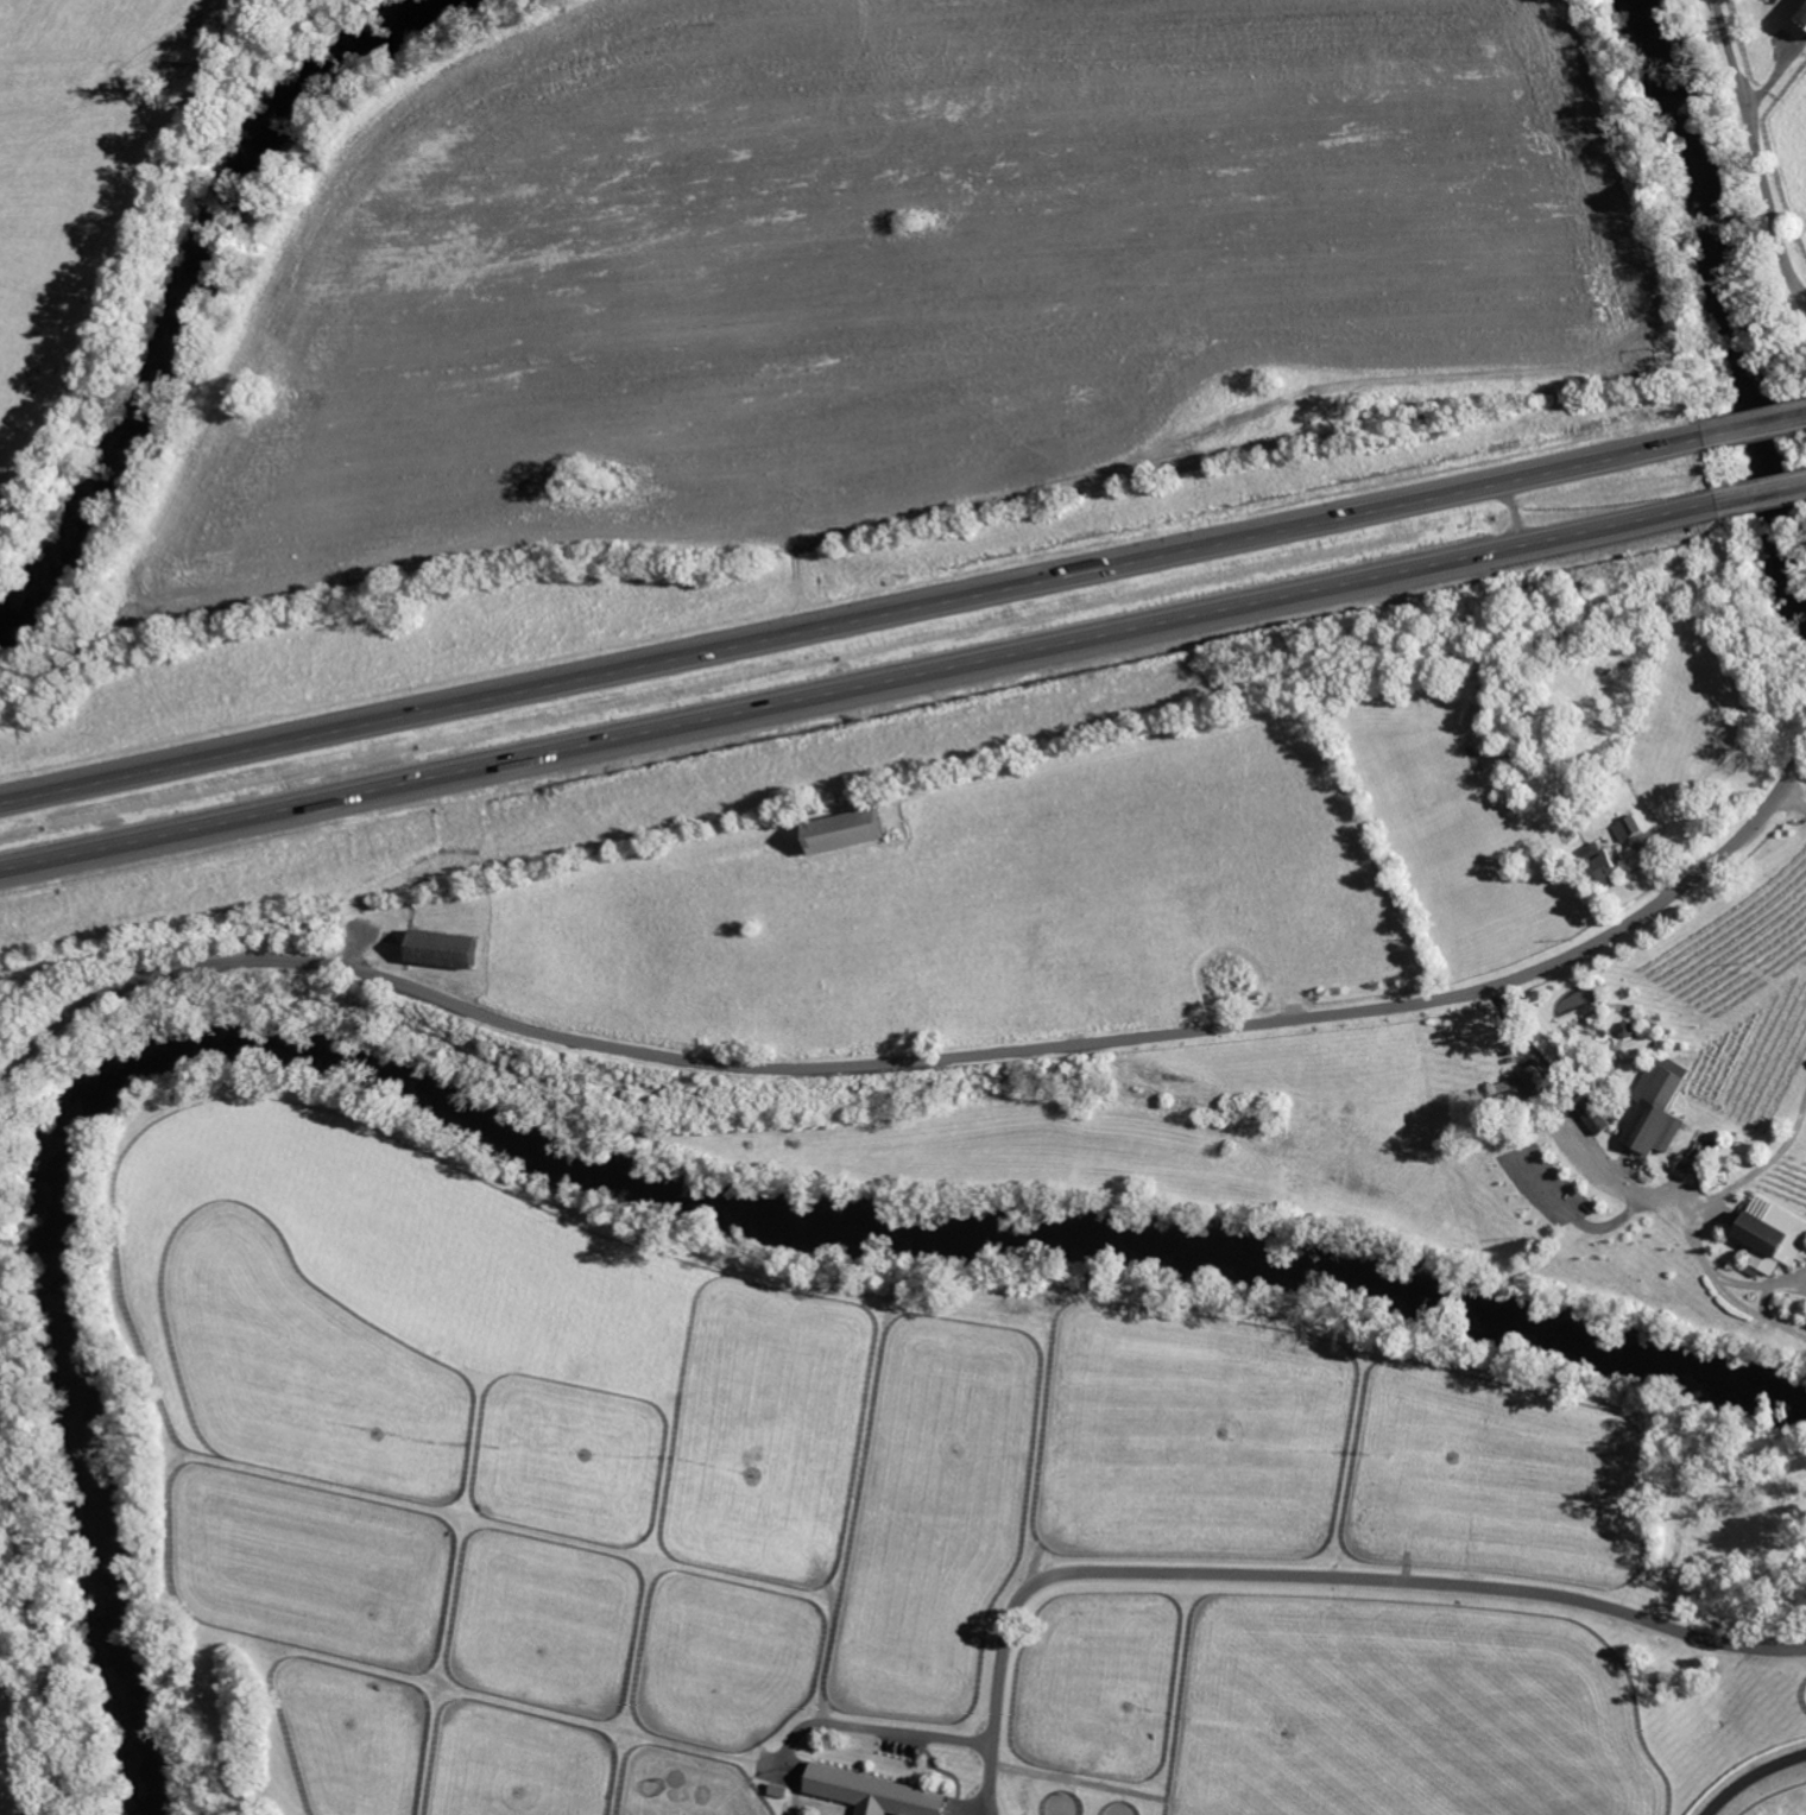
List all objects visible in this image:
building: (1799, 17)
road: (1728, 48)
road: (1769, 198)
river: (1735, 279)
river: (194, 298)
road: (1758, 428)
road: (1767, 492)
road: (855, 615)
road: (865, 689)
road: (1794, 793)
building: (1624, 827)
building: (834, 829)
building: (1593, 865)
building: (436, 948)
road: (920, 1060)
building: (1517, 1084)
building: (1653, 1108)
building: (1590, 1114)
road: (1757, 1169)
river: (591, 1172)
road: (1629, 1187)
building: (1768, 1233)
road: (1301, 1577)
road: (37, 1621)
building: (870, 1792)
road: (971, 1803)

